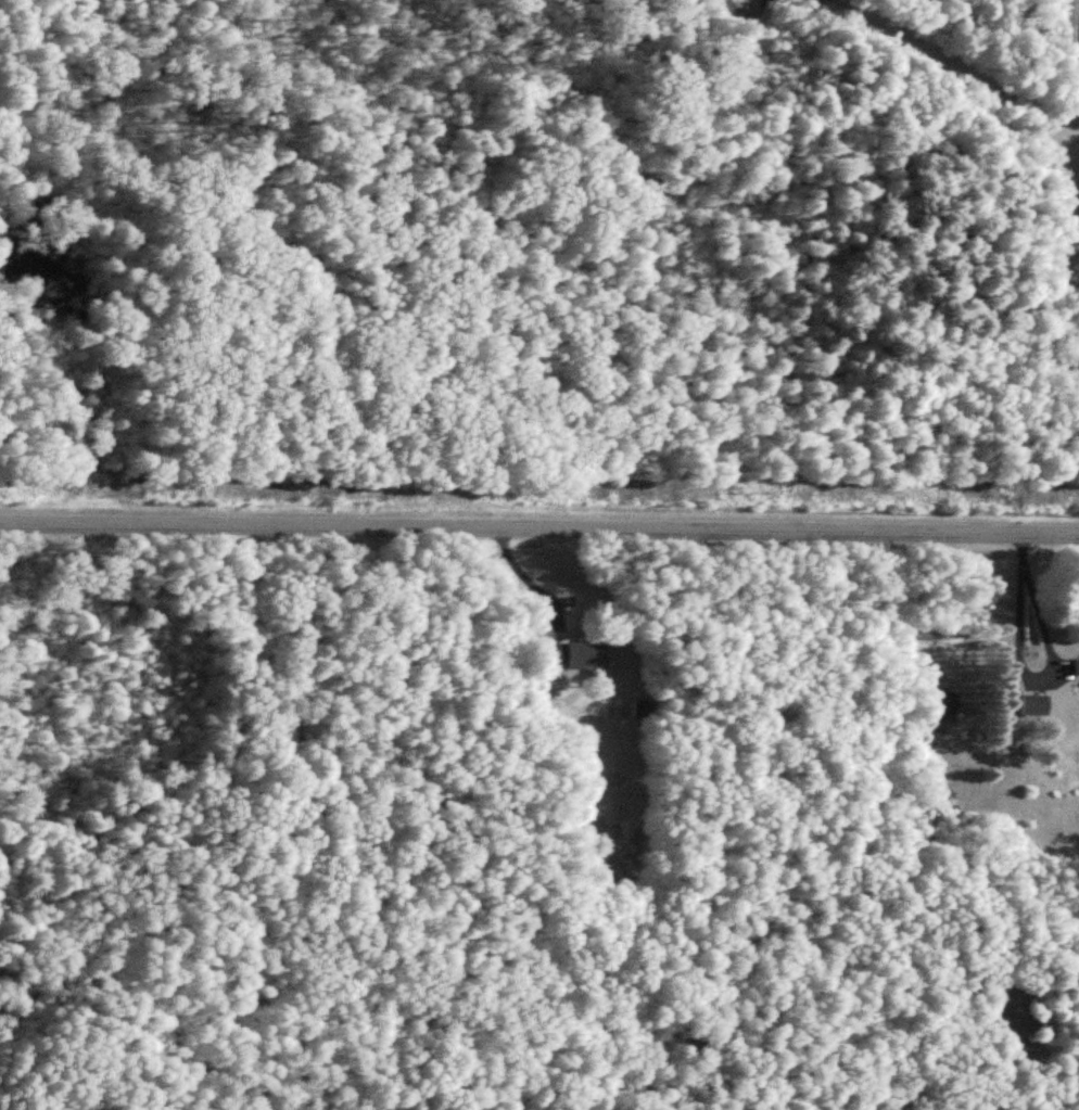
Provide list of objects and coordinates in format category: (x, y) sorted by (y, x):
road: (538, 534)
building: (569, 656)
building: (1075, 668)
road: (1028, 679)
building: (1031, 706)
building: (942, 709)

